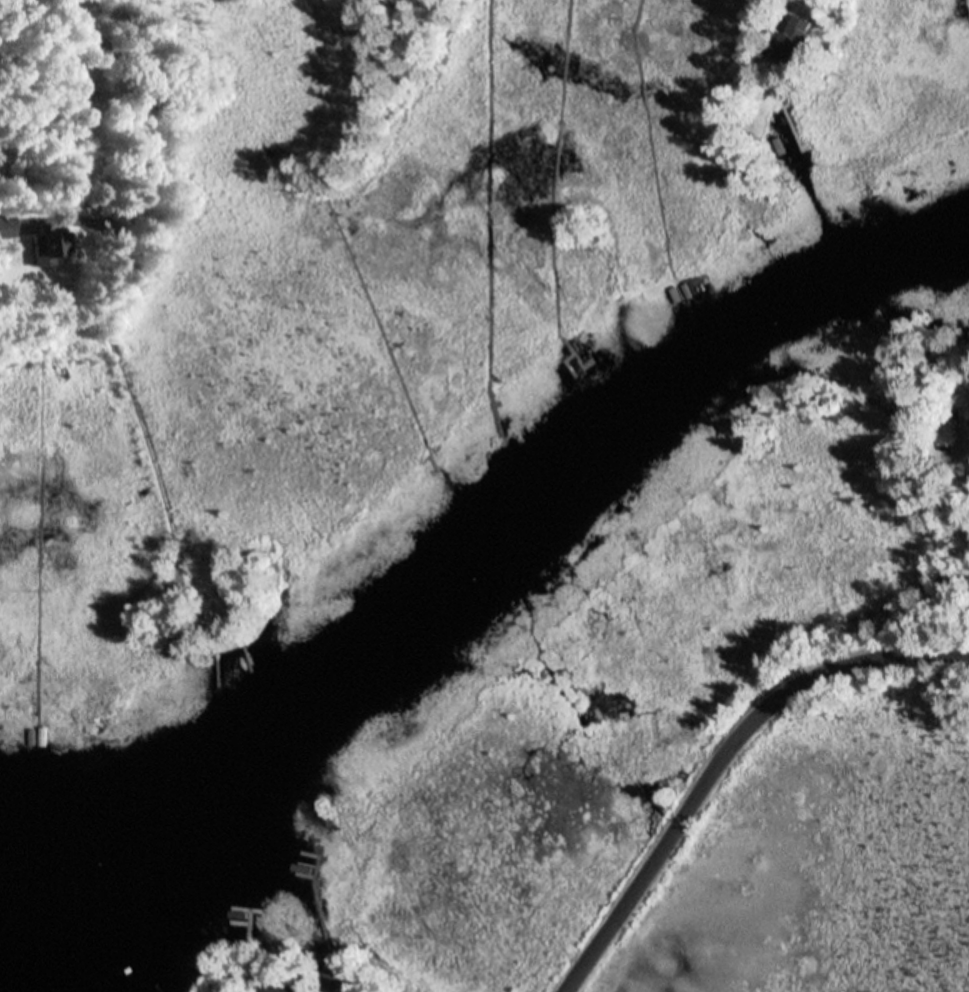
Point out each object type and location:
building: (798, 35)
building: (822, 41)
building: (4, 227)
building: (45, 247)
building: (46, 262)
road: (116, 268)
road: (859, 527)
river: (479, 578)
building: (241, 602)
road: (726, 760)
building: (327, 973)
building: (291, 989)

